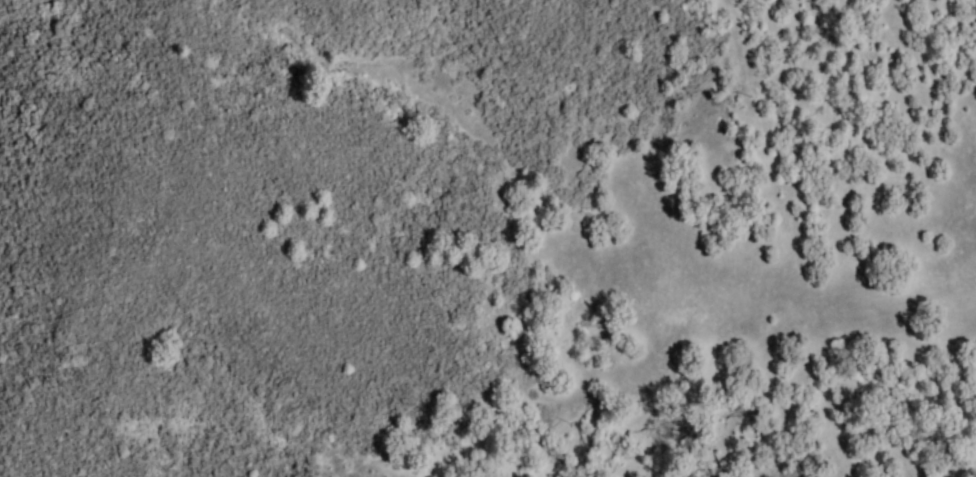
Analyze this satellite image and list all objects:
road: (781, 241)

